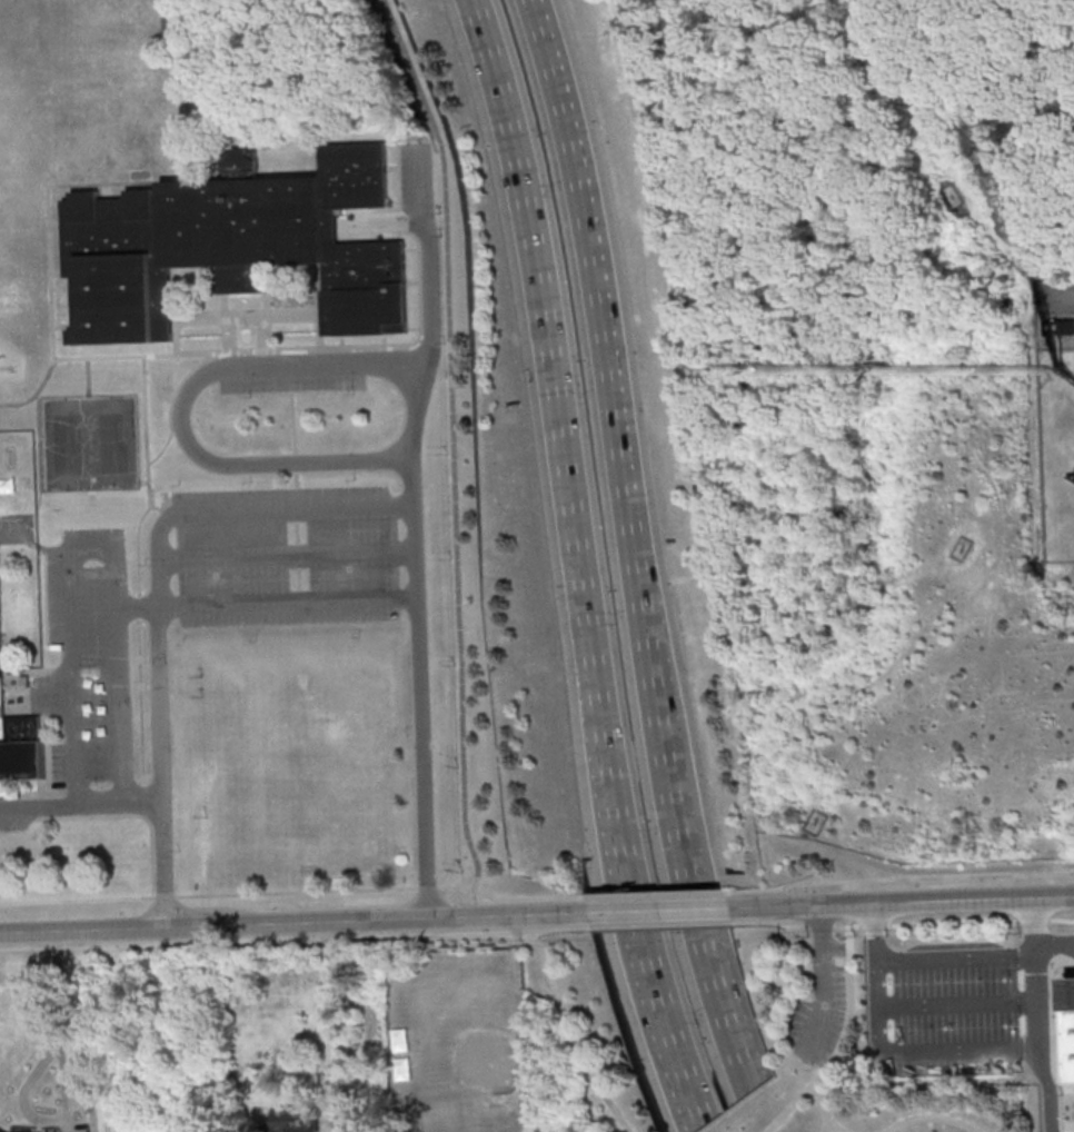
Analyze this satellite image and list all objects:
road: (394, 167)
road: (399, 176)
parking lot: (416, 177)
road: (159, 189)
road: (126, 190)
road: (56, 208)
road: (56, 225)
building: (233, 247)
road: (50, 256)
road: (588, 270)
road: (58, 274)
road: (64, 287)
road: (1064, 296)
road: (267, 305)
road: (225, 306)
road: (319, 306)
road: (175, 310)
road: (247, 315)
road: (66, 326)
road: (1004, 326)
building: (1058, 326)
road: (415, 328)
road: (265, 331)
road: (540, 331)
road: (229, 334)
road: (385, 340)
road: (342, 341)
road: (294, 348)
parking lot: (291, 383)
road: (172, 399)
road: (182, 403)
road: (292, 421)
road: (453, 440)
park: (90, 445)
road: (148, 476)
road: (296, 477)
road: (142, 480)
road: (290, 510)
park: (17, 528)
road: (409, 528)
road: (284, 554)
parking lot: (285, 554)
road: (265, 600)
road: (140, 606)
road: (1037, 653)
parking lot: (88, 659)
road: (49, 693)
road: (97, 693)
road: (141, 701)
road: (72, 713)
road: (932, 713)
road: (158, 717)
road: (1018, 718)
building: (20, 749)
road: (47, 755)
park: (295, 772)
road: (123, 784)
road: (74, 785)
road: (43, 794)
road: (143, 800)
road: (79, 802)
road: (40, 806)
road: (133, 815)
road: (689, 817)
parking lot: (17, 823)
road: (668, 826)
road: (617, 857)
road: (898, 878)
road: (426, 886)
road: (297, 891)
road: (654, 892)
road: (167, 895)
road: (78, 898)
road: (508, 898)
road: (911, 903)
road: (604, 905)
road: (652, 913)
road: (769, 921)
road: (953, 922)
road: (277, 923)
road: (818, 923)
road: (660, 924)
road: (294, 939)
road: (975, 954)
road: (517, 963)
road: (1036, 973)
road: (823, 986)
road: (958, 1003)
road: (328, 1012)
parking lot: (819, 1020)
building: (941, 1020)
building: (1067, 1030)
road: (846, 1032)
road: (567, 1035)
road: (1052, 1039)
road: (117, 1040)
park: (589, 1040)
park: (470, 1045)
road: (898, 1052)
park: (845, 1054)
road: (33, 1079)
road: (682, 1088)
road: (1048, 1089)
road: (157, 1105)
road: (824, 1109)
road: (933, 1116)
building: (292, 1120)
road: (1061, 1129)
road: (620, 1130)
building: (60, 1131)
road: (835, 1131)

